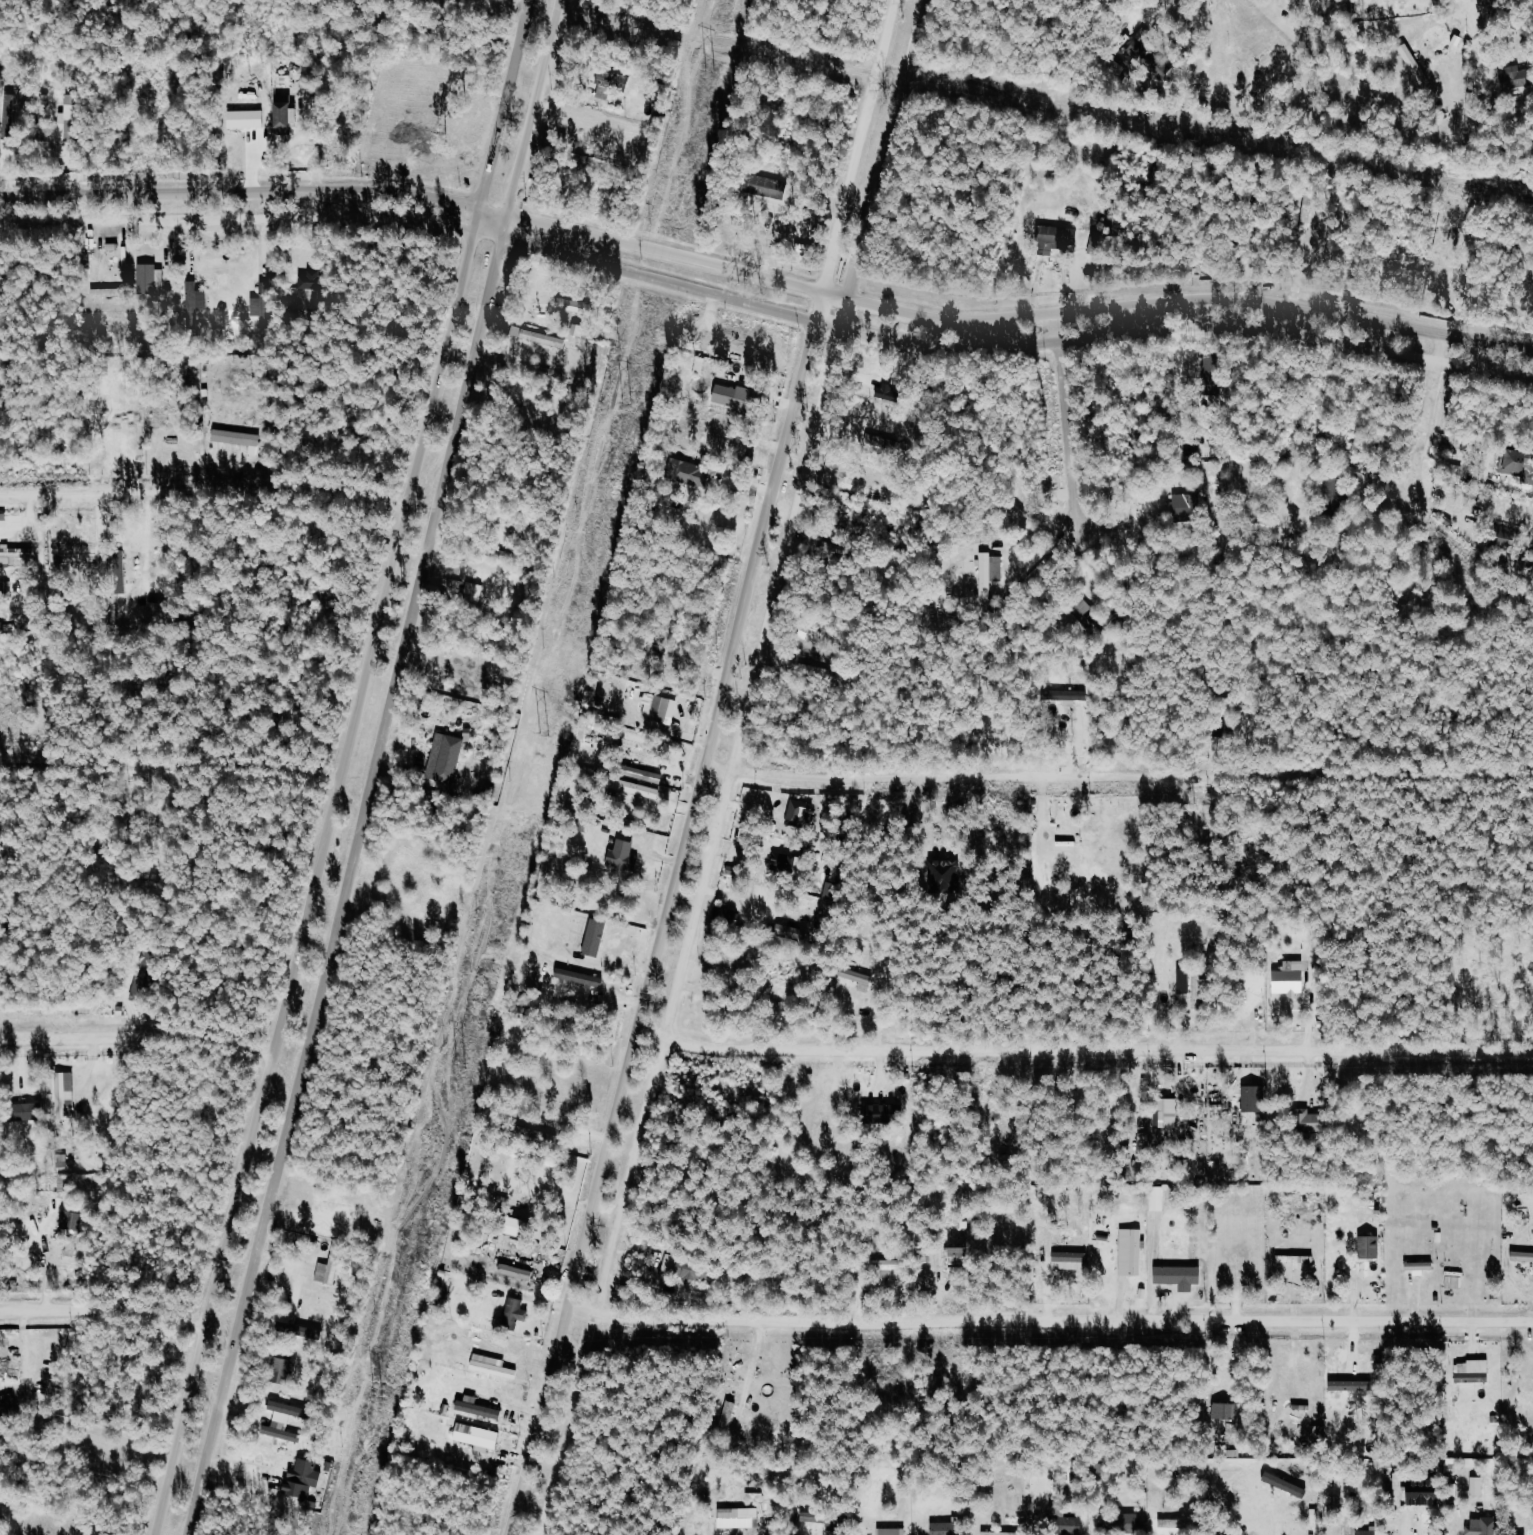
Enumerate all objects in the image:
road: (1464, 10)
building: (1266, 51)
building: (1146, 57)
building: (1415, 63)
power tower: (710, 72)
building: (1517, 77)
building: (612, 84)
building: (286, 110)
building: (70, 118)
building: (247, 119)
building: (1058, 235)
road: (766, 274)
building: (152, 279)
building: (312, 281)
building: (196, 301)
building: (263, 306)
road: (766, 306)
building: (539, 337)
building: (733, 396)
power tower: (627, 403)
road: (1429, 412)
road: (1066, 431)
building: (237, 437)
building: (883, 441)
building: (1518, 464)
building: (686, 472)
building: (1330, 488)
road: (204, 499)
building: (1183, 504)
building: (15, 553)
building: (988, 573)
building: (475, 591)
building: (1088, 610)
building: (1063, 695)
building: (660, 708)
power tower: (544, 735)
building: (447, 758)
road: (170, 763)
road: (343, 767)
road: (374, 767)
road: (734, 768)
road: (708, 769)
building: (645, 774)
road: (1133, 775)
building: (638, 789)
building: (801, 814)
building: (1063, 850)
building: (625, 856)
building: (793, 864)
building: (764, 900)
building: (727, 916)
building: (597, 936)
building: (585, 978)
building: (858, 978)
building: (1290, 981)
building: (144, 982)
building: (1192, 984)
road: (137, 1034)
road: (1083, 1047)
power tower: (459, 1068)
building: (66, 1091)
building: (1254, 1098)
building: (884, 1112)
building: (1166, 1112)
building: (1314, 1121)
building: (1158, 1197)
building: (72, 1219)
building: (517, 1226)
building: (1371, 1246)
building: (1132, 1251)
building: (962, 1256)
building: (1071, 1256)
building: (1523, 1256)
building: (1297, 1258)
building: (887, 1267)
building: (1421, 1267)
building: (330, 1268)
building: (689, 1268)
building: (517, 1272)
building: (1180, 1276)
building: (1455, 1279)
road: (104, 1309)
building: (515, 1313)
road: (1050, 1319)
building: (306, 1333)
building: (283, 1369)
building: (495, 1369)
building: (1473, 1371)
power tower: (378, 1397)
building: (4, 1408)
building: (479, 1408)
building: (1226, 1410)
building: (729, 1414)
building: (282, 1431)
building: (479, 1436)
building: (304, 1478)
building: (1425, 1491)
building: (812, 1516)
building: (739, 1517)
building: (1065, 1521)
building: (1120, 1522)
building: (943, 1528)
building: (1479, 1528)
building: (1367, 1532)
building: (1002, 1533)

